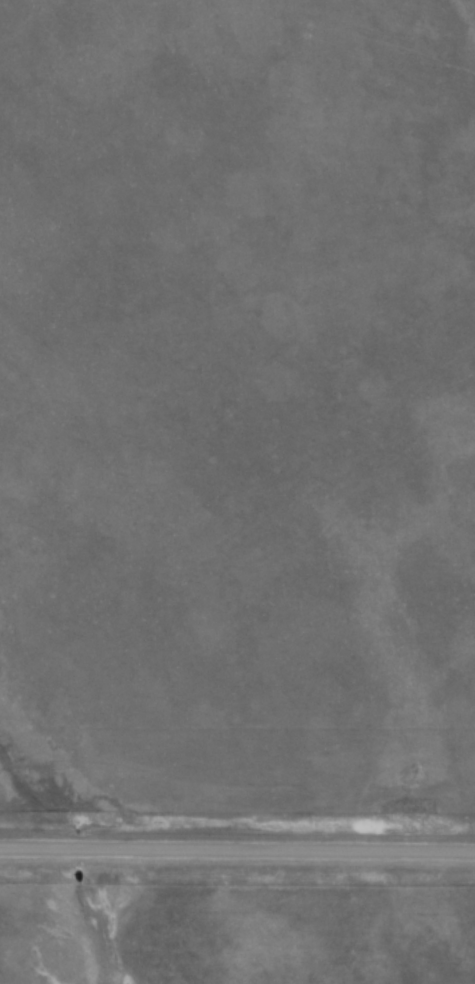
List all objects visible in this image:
road: (237, 852)

